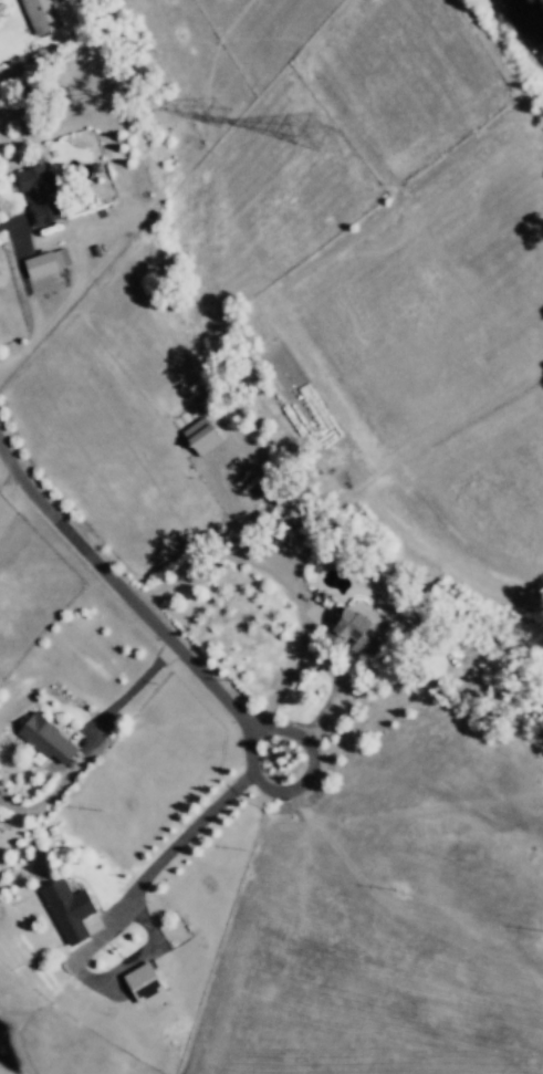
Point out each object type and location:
building: (40, 15)
river: (524, 22)
power tower: (221, 96)
power tower: (315, 128)
building: (36, 194)
building: (44, 262)
building: (199, 436)
road: (128, 598)
building: (355, 630)
building: (45, 739)
road: (306, 774)
building: (66, 910)
building: (142, 982)

